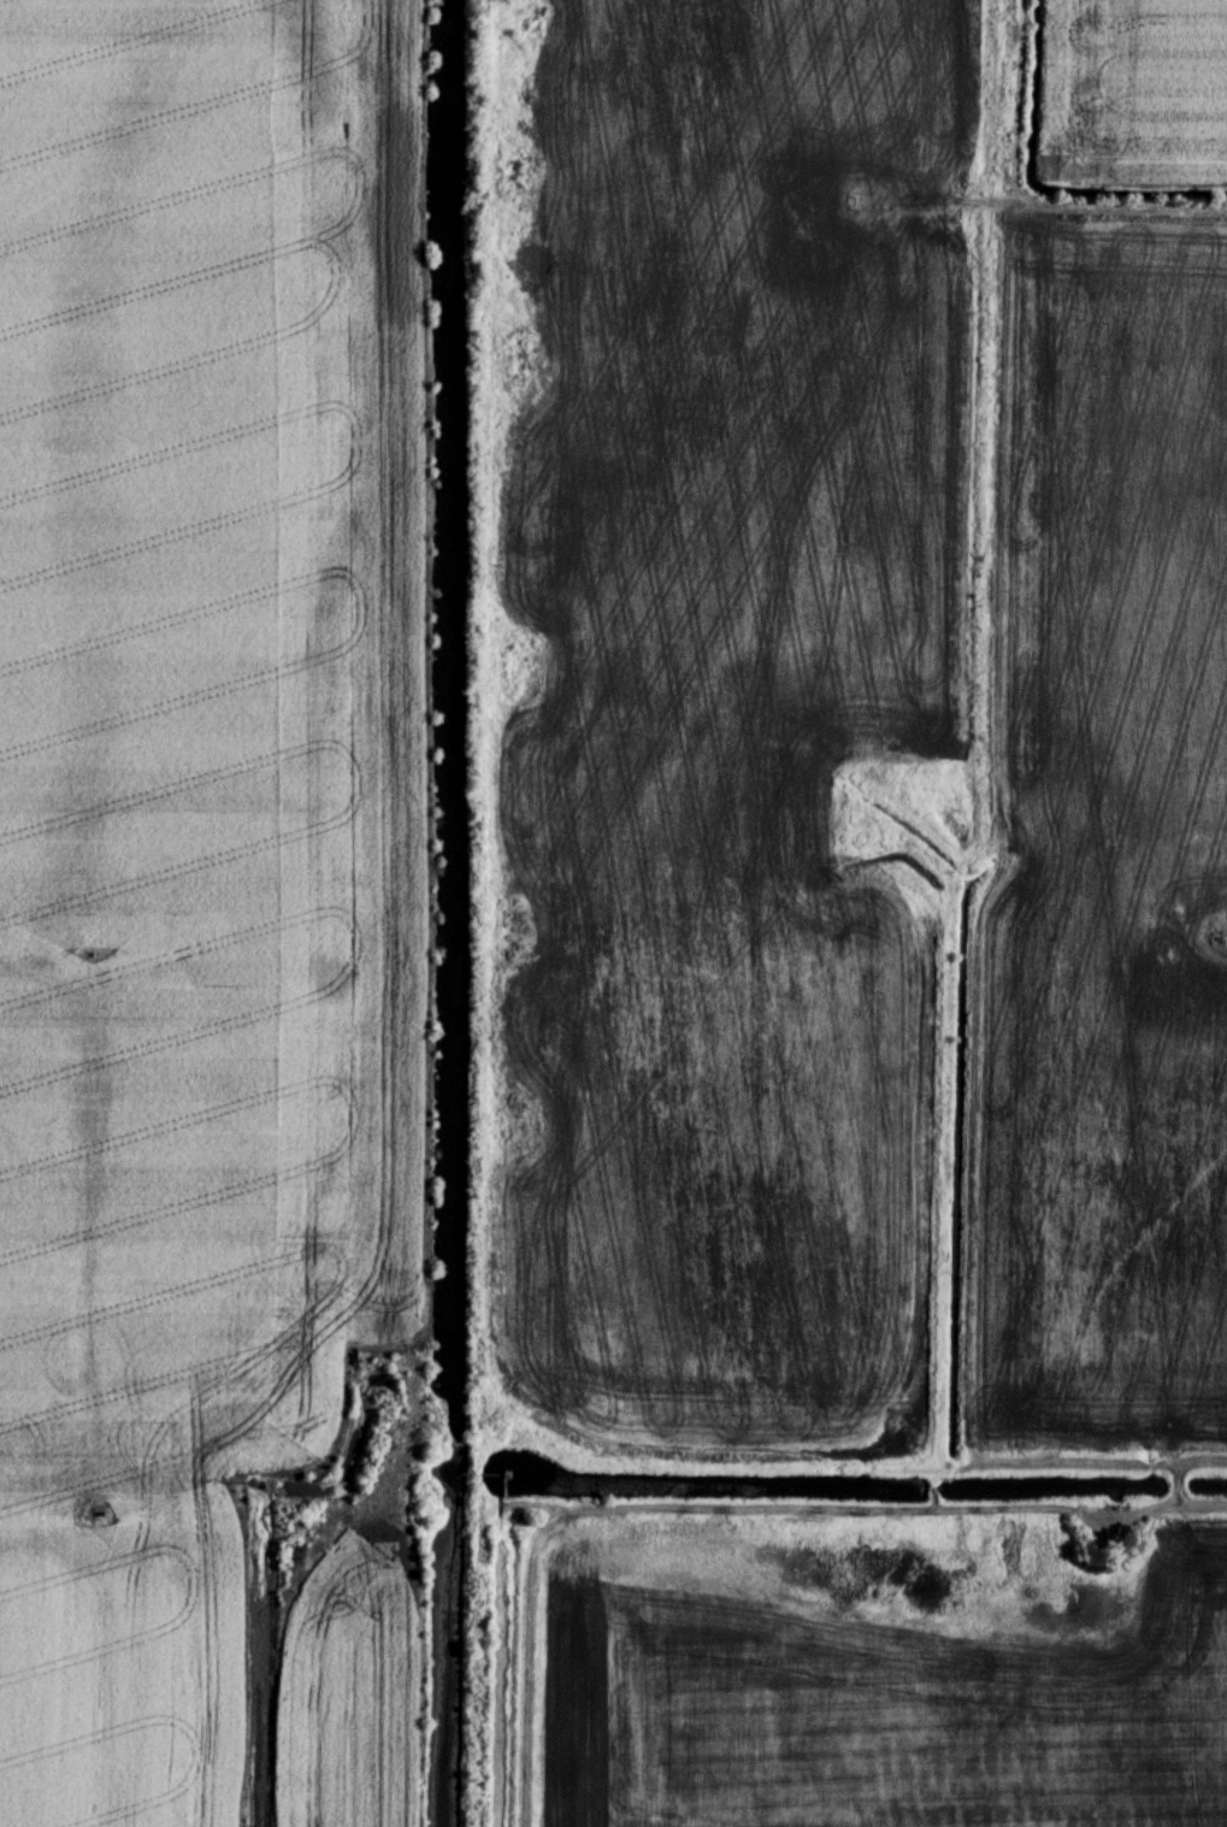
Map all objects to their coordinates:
road: (1167, 1505)

